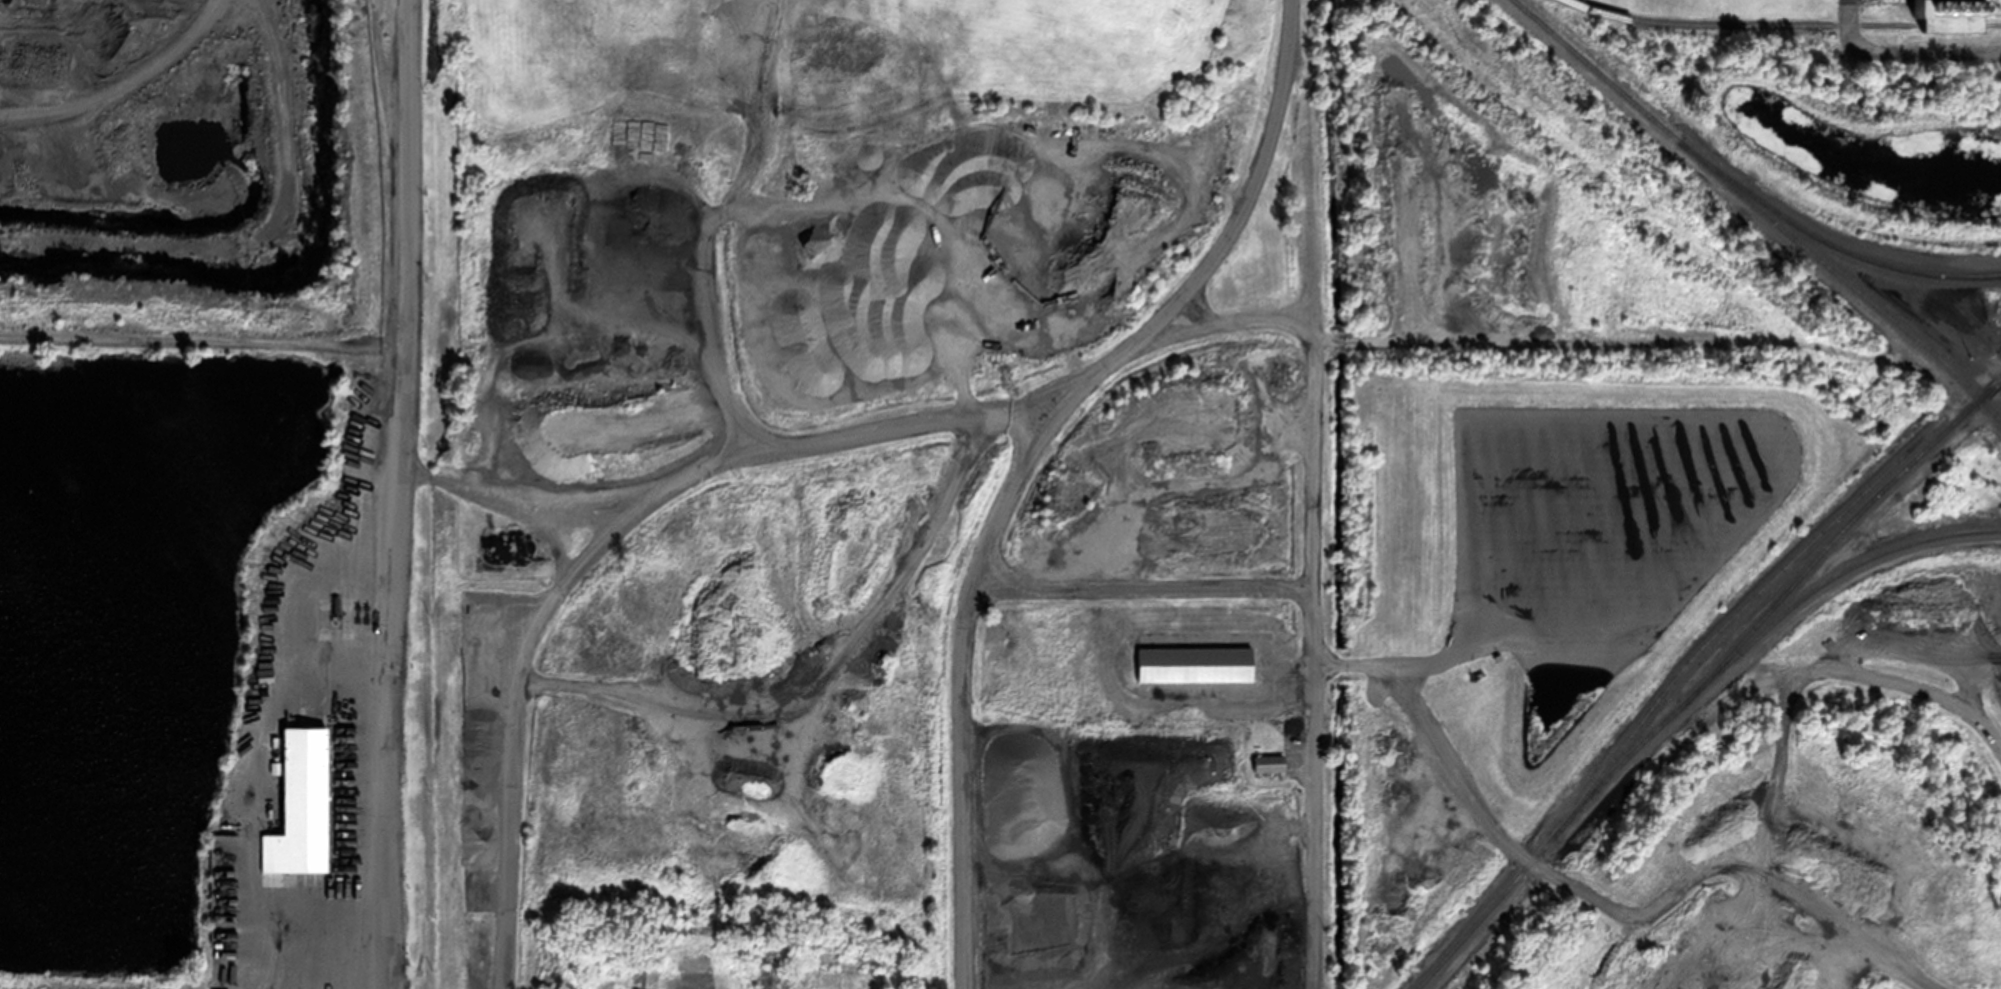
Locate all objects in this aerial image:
building: (1954, 14)
railway: (1783, 24)
road: (1902, 49)
building: (123, 56)
railway: (1757, 209)
railway: (1827, 242)
road: (848, 428)
road: (1019, 466)
road: (1312, 492)
road: (397, 494)
landfill: (196, 497)
railway: (1824, 581)
railway: (1735, 612)
building: (1195, 663)
road: (1397, 664)
railway: (1704, 678)
building: (1268, 762)
building: (300, 804)
road: (1626, 913)
crop: (98, 988)

